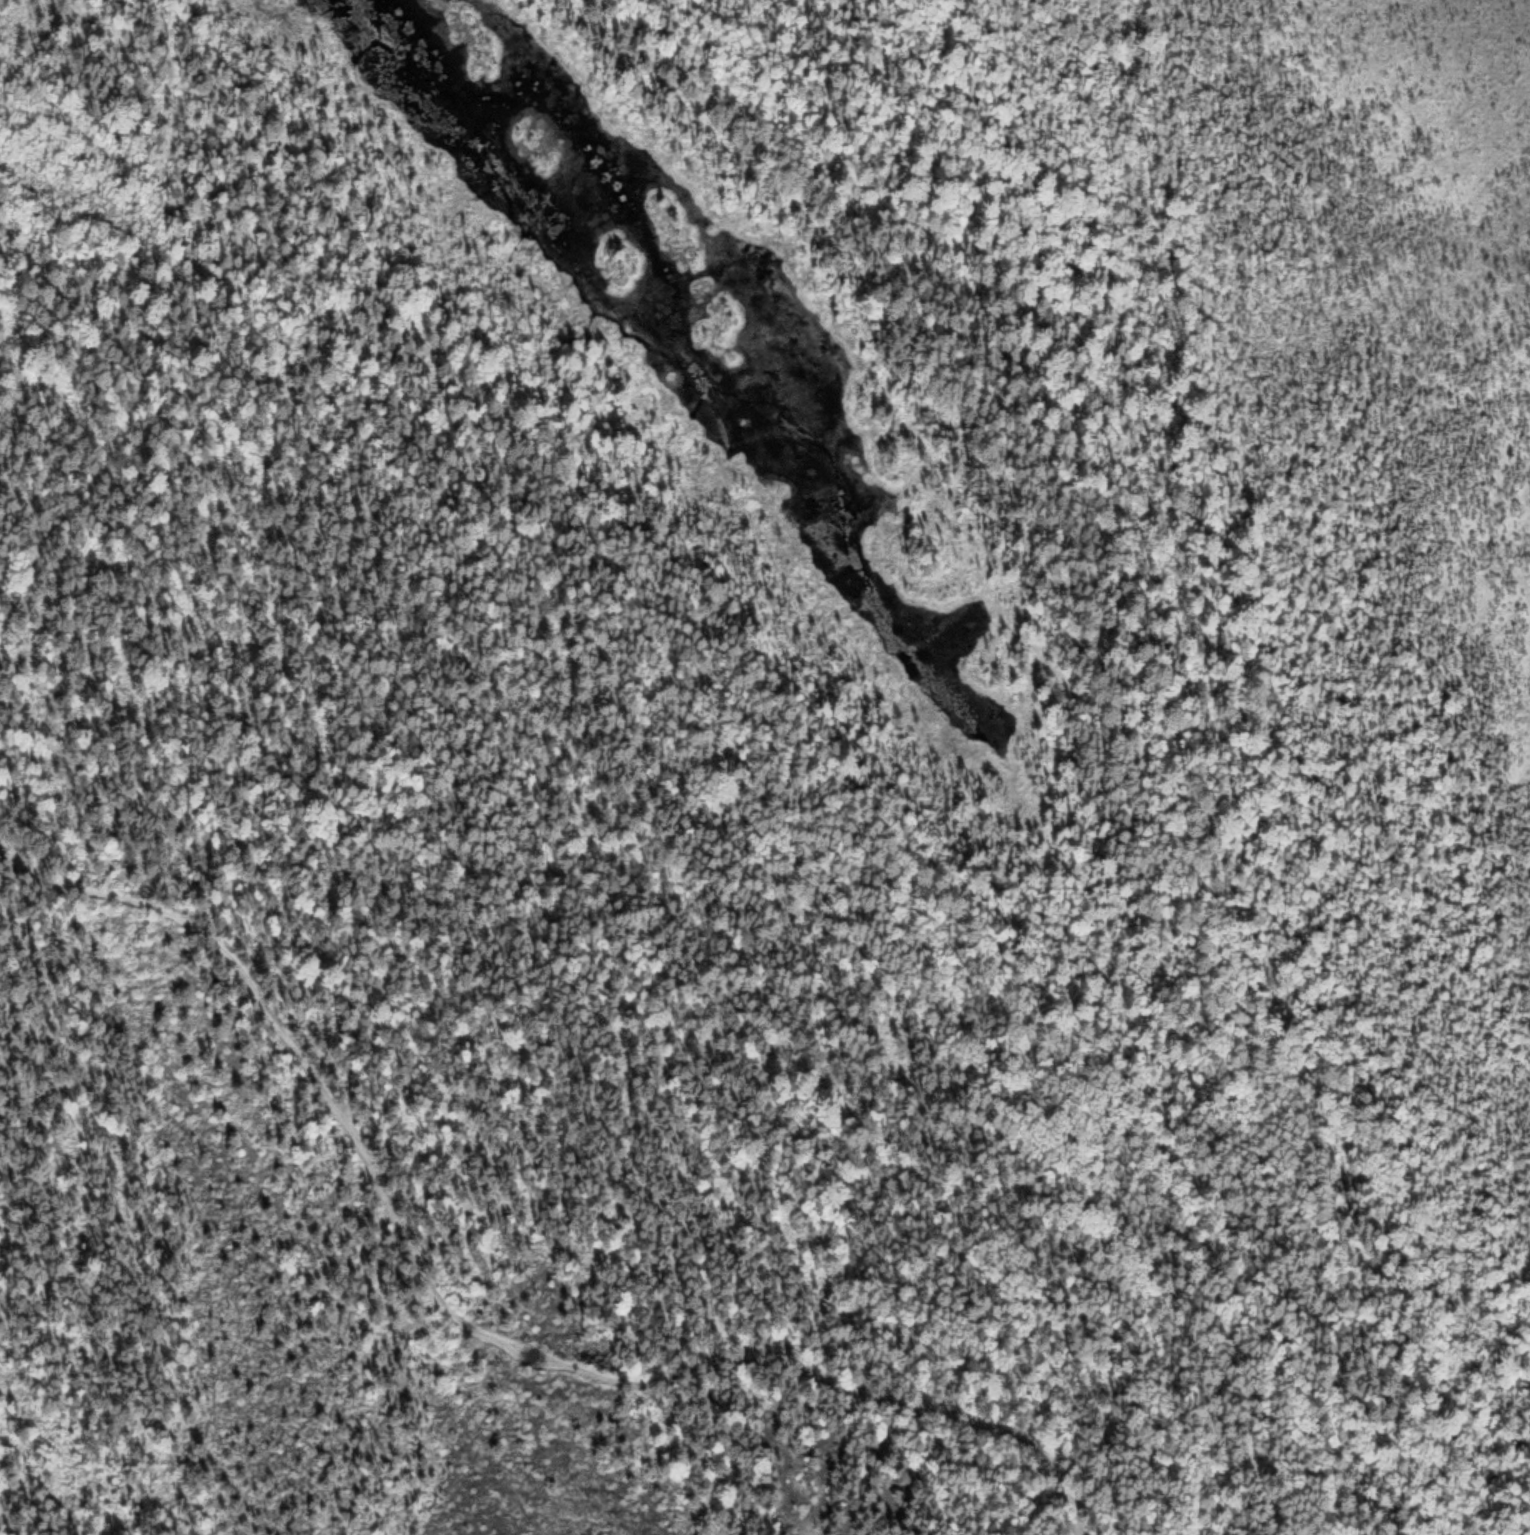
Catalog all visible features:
road: (470, 1320)

